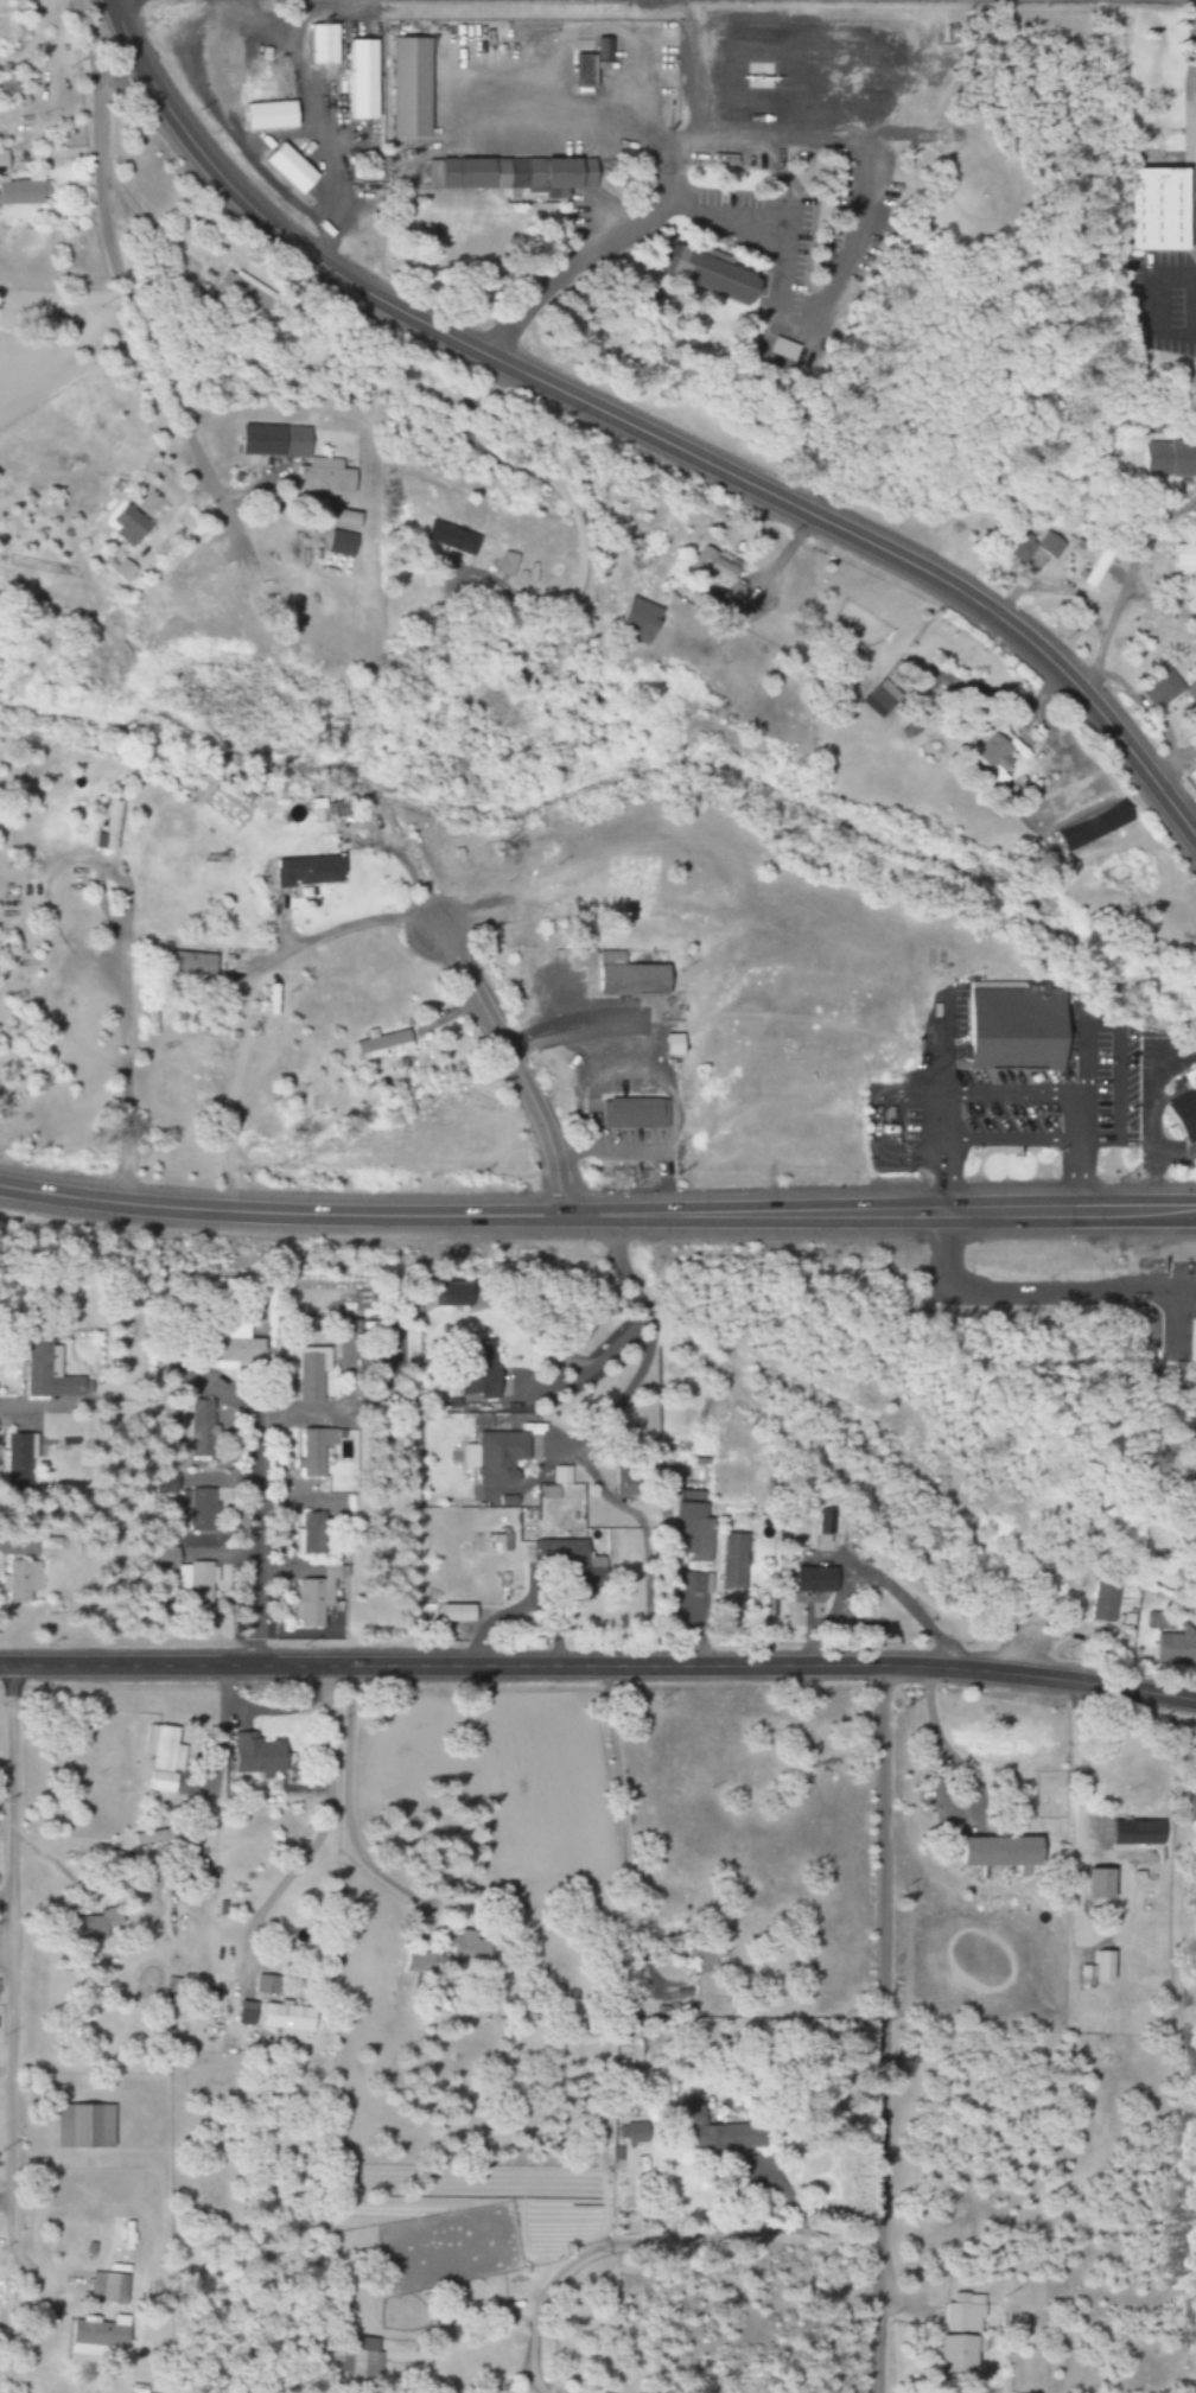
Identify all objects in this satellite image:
building: (324, 44)
building: (604, 49)
building: (225, 61)
building: (585, 70)
building: (363, 78)
building: (411, 88)
building: (272, 115)
building: (4, 161)
building: (292, 168)
building: (513, 174)
building: (23, 192)
building: (1158, 209)
building: (711, 273)
building: (246, 294)
road: (129, 312)
building: (794, 352)
road: (640, 432)
building: (276, 440)
building: (1169, 458)
building: (325, 478)
building: (346, 520)
building: (129, 524)
building: (453, 540)
building: (342, 543)
building: (1033, 547)
building: (1184, 559)
building: (508, 564)
building: (1096, 567)
building: (713, 568)
building: (122, 569)
building: (641, 619)
building: (1168, 690)
building: (882, 698)
building: (995, 758)
building: (1194, 774)
building: (327, 809)
building: (1094, 826)
building: (110, 829)
building: (308, 870)
building: (191, 963)
building: (631, 975)
building: (1017, 1025)
building: (674, 1043)
building: (383, 1044)
road: (507, 1064)
building: (1187, 1107)
building: (634, 1113)
road: (597, 1215)
building: (453, 1293)
building: (231, 1345)
building: (1194, 1355)
building: (481, 1369)
building: (310, 1370)
building: (49, 1371)
building: (198, 1427)
building: (314, 1450)
building: (18, 1456)
building: (496, 1457)
building: (562, 1475)
building: (625, 1482)
building: (166, 1483)
building: (549, 1491)
building: (198, 1508)
building: (825, 1521)
building: (694, 1525)
road: (254, 1528)
building: (310, 1533)
building: (502, 1542)
building: (733, 1561)
building: (578, 1564)
building: (190, 1578)
building: (21, 1579)
building: (816, 1579)
building: (685, 1581)
building: (314, 1597)
building: (1105, 1599)
building: (458, 1612)
building: (1156, 1619)
building: (1177, 1646)
road: (598, 1666)
building: (259, 1755)
building: (164, 1757)
building: (990, 1851)
building: (1092, 1883)
building: (90, 1927)
building: (451, 1945)
building: (1093, 1968)
building: (263, 1985)
building: (240, 2012)
building: (285, 2019)
road: (877, 2029)
building: (85, 2126)
building: (711, 2132)
building: (628, 2134)
building: (109, 2289)
building: (955, 2334)
building: (98, 2336)
building: (357, 2360)

